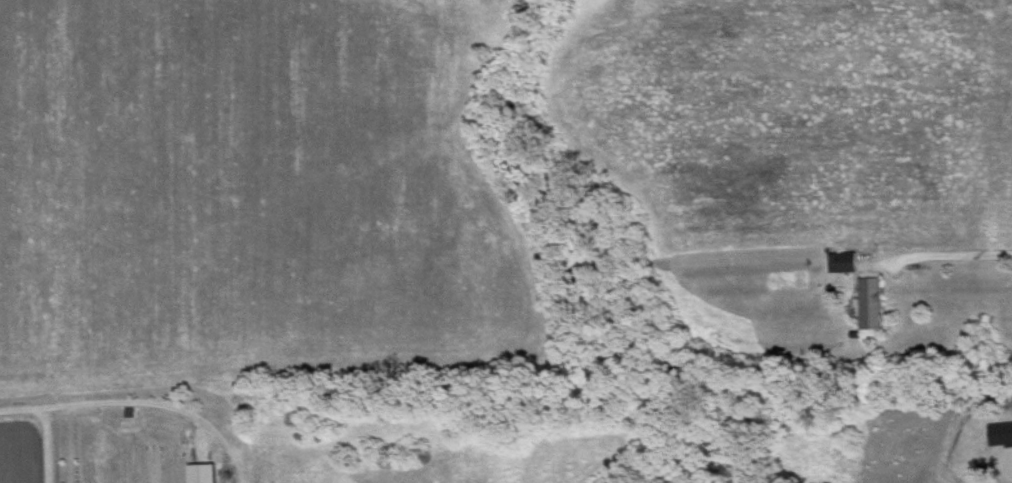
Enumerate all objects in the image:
road: (940, 258)
building: (840, 260)
building: (869, 301)
road: (138, 403)
building: (200, 472)

